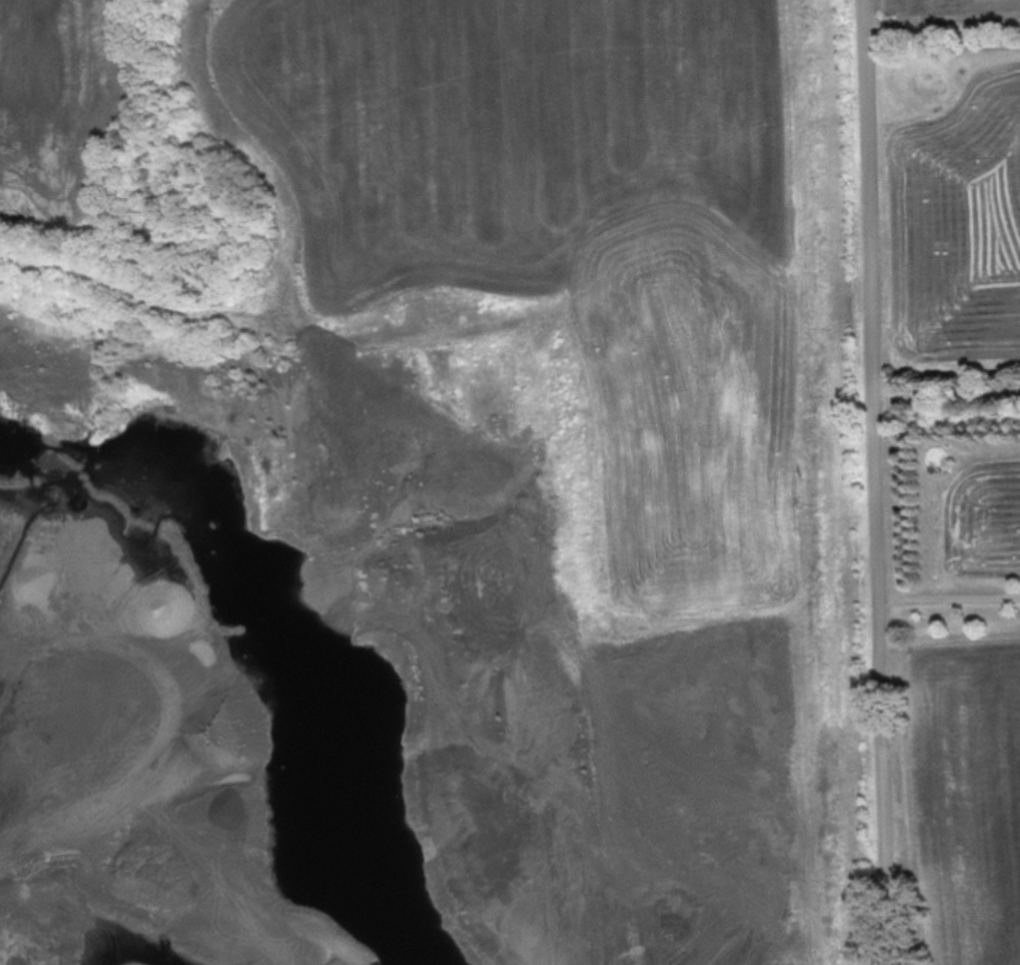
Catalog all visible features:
road: (944, 20)
road: (948, 395)
road: (878, 482)
road: (950, 595)

